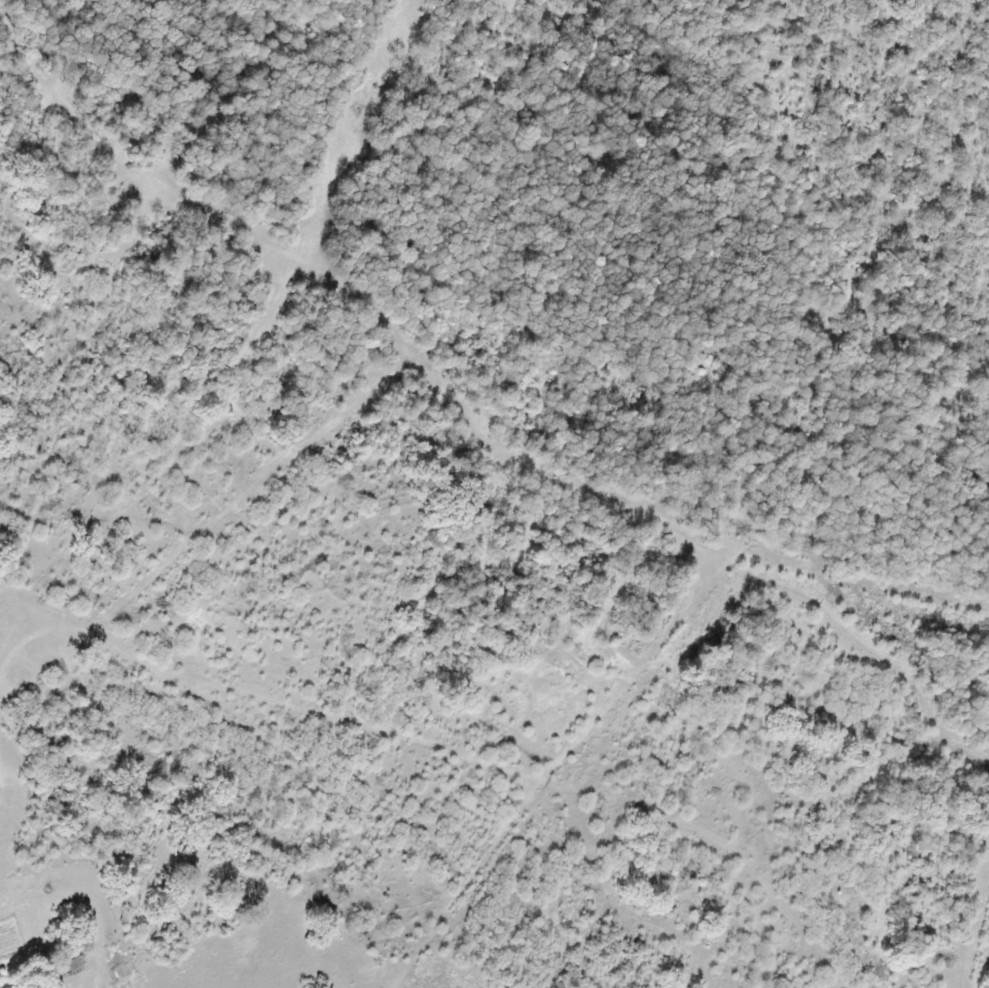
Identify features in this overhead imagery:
road: (107, 964)

